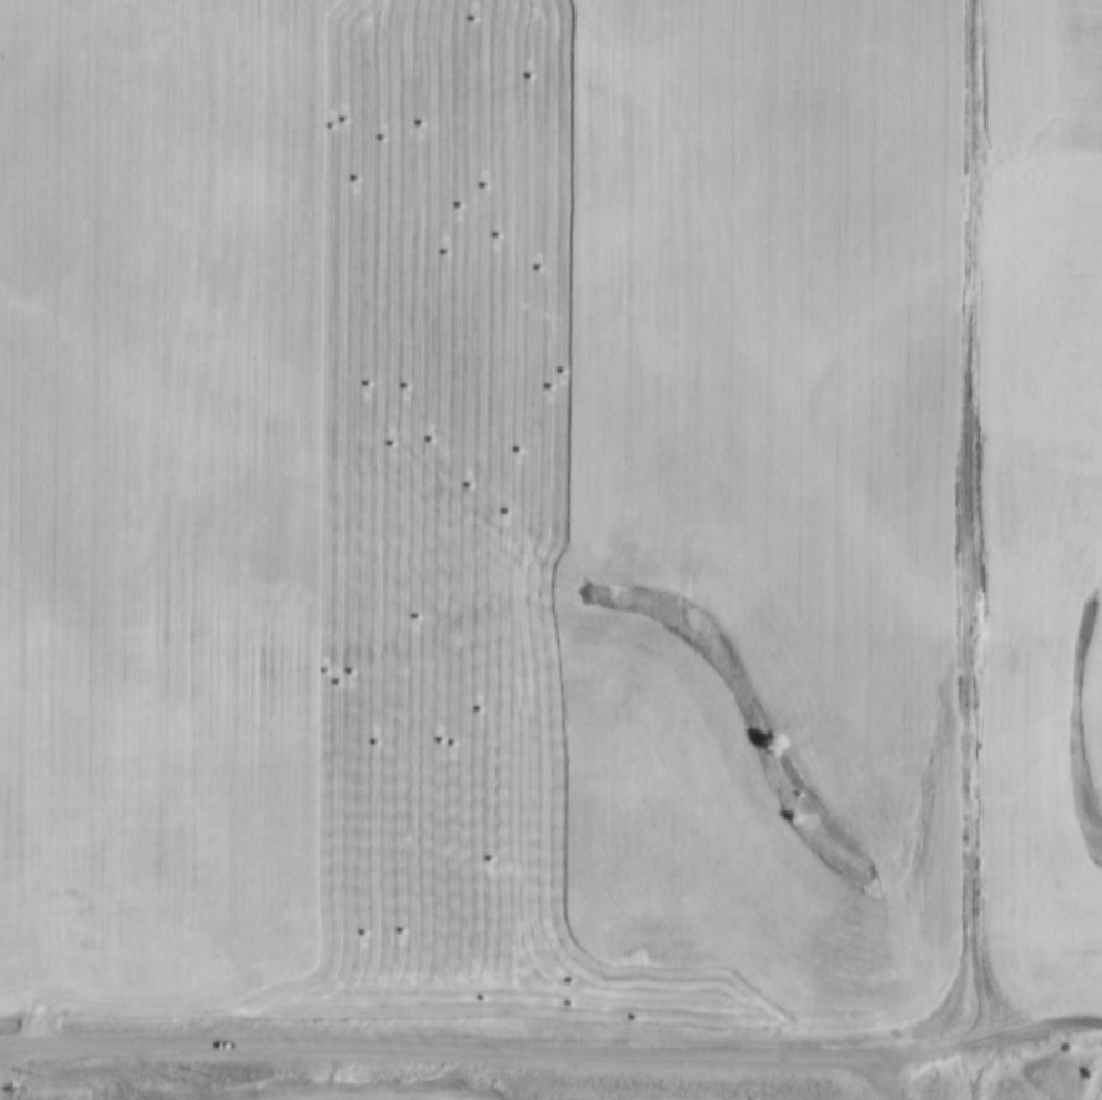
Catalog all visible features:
road: (968, 549)
road: (0, 1043)
road: (552, 1050)
road: (1, 1072)

